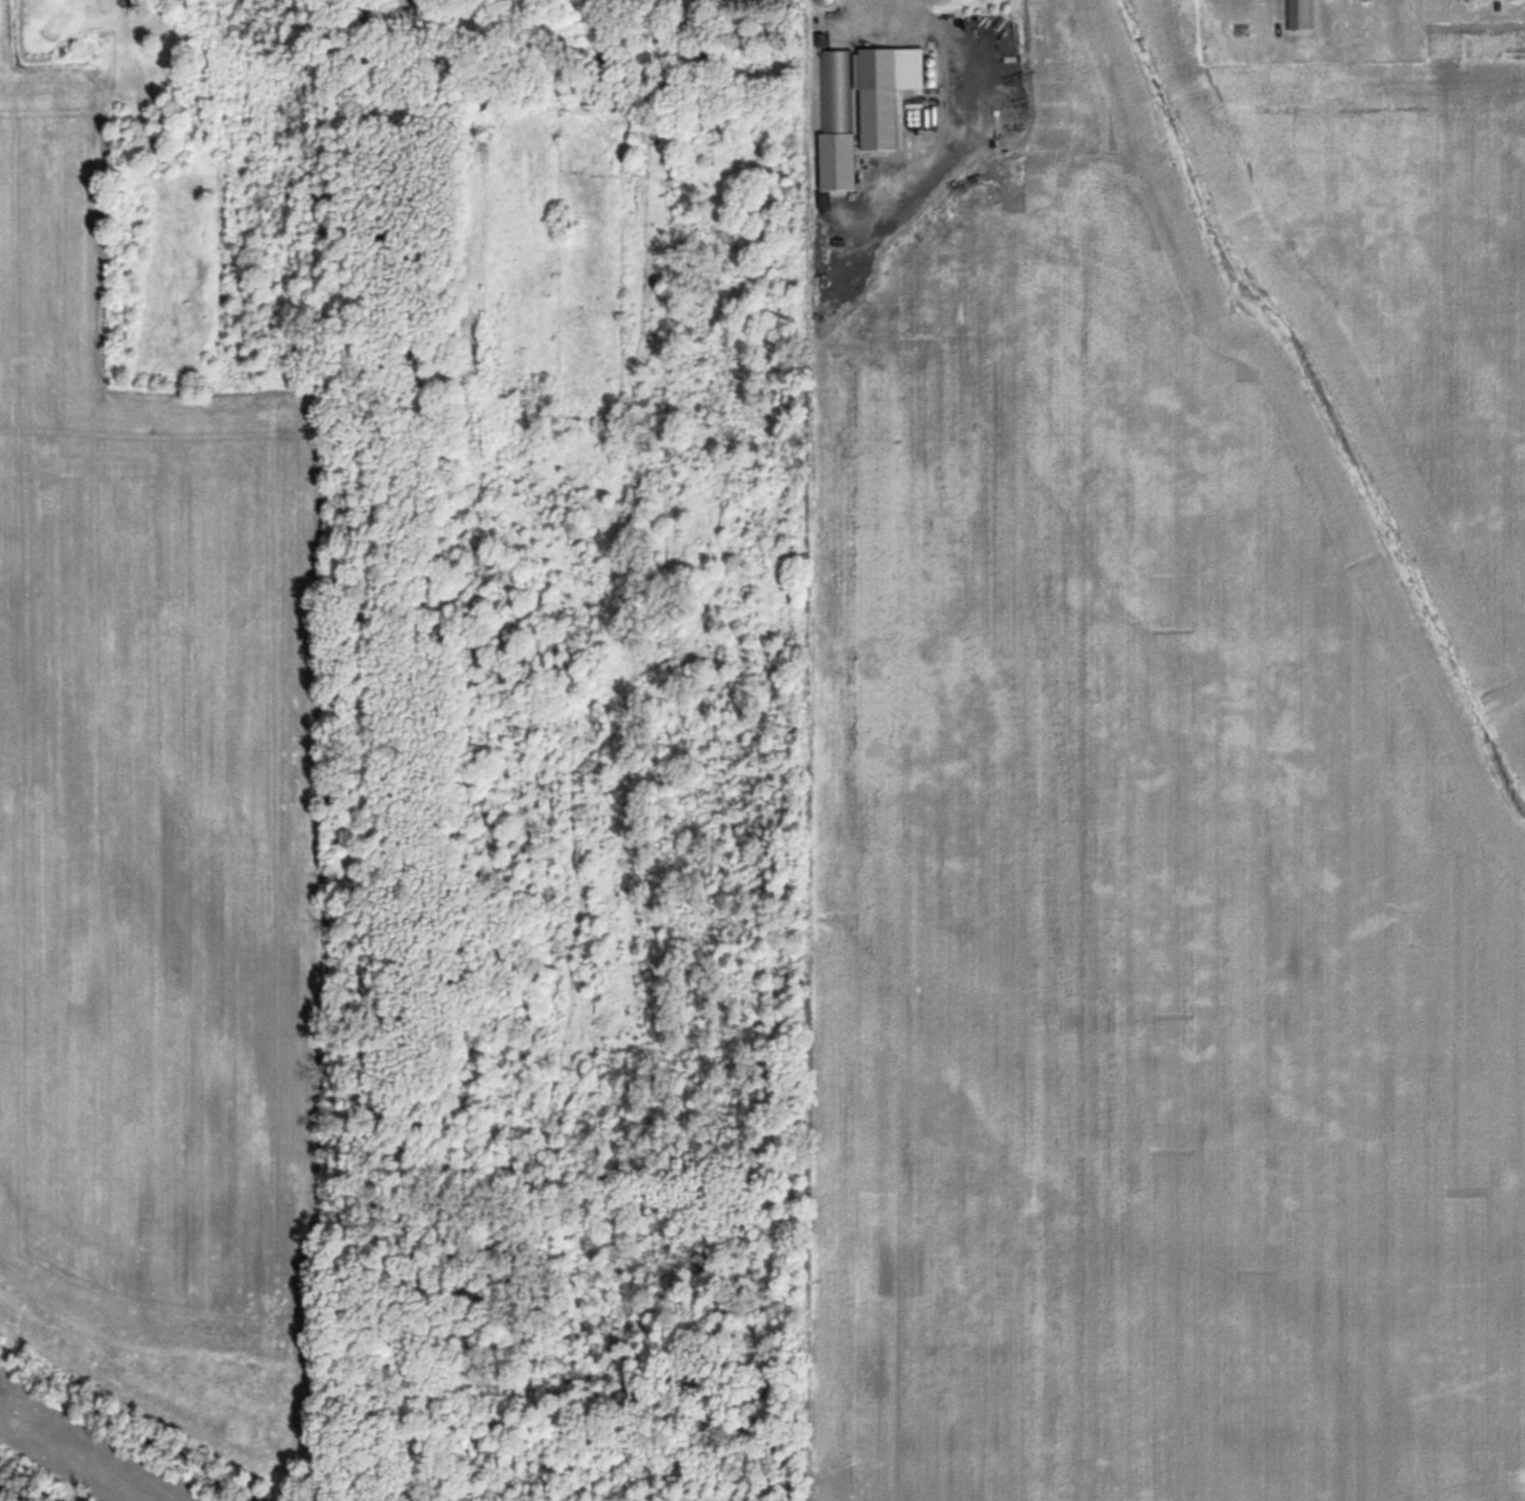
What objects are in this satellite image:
building: (823, 2)
building: (1299, 14)
building: (602, 74)
building: (835, 93)
building: (885, 93)
road: (979, 125)

